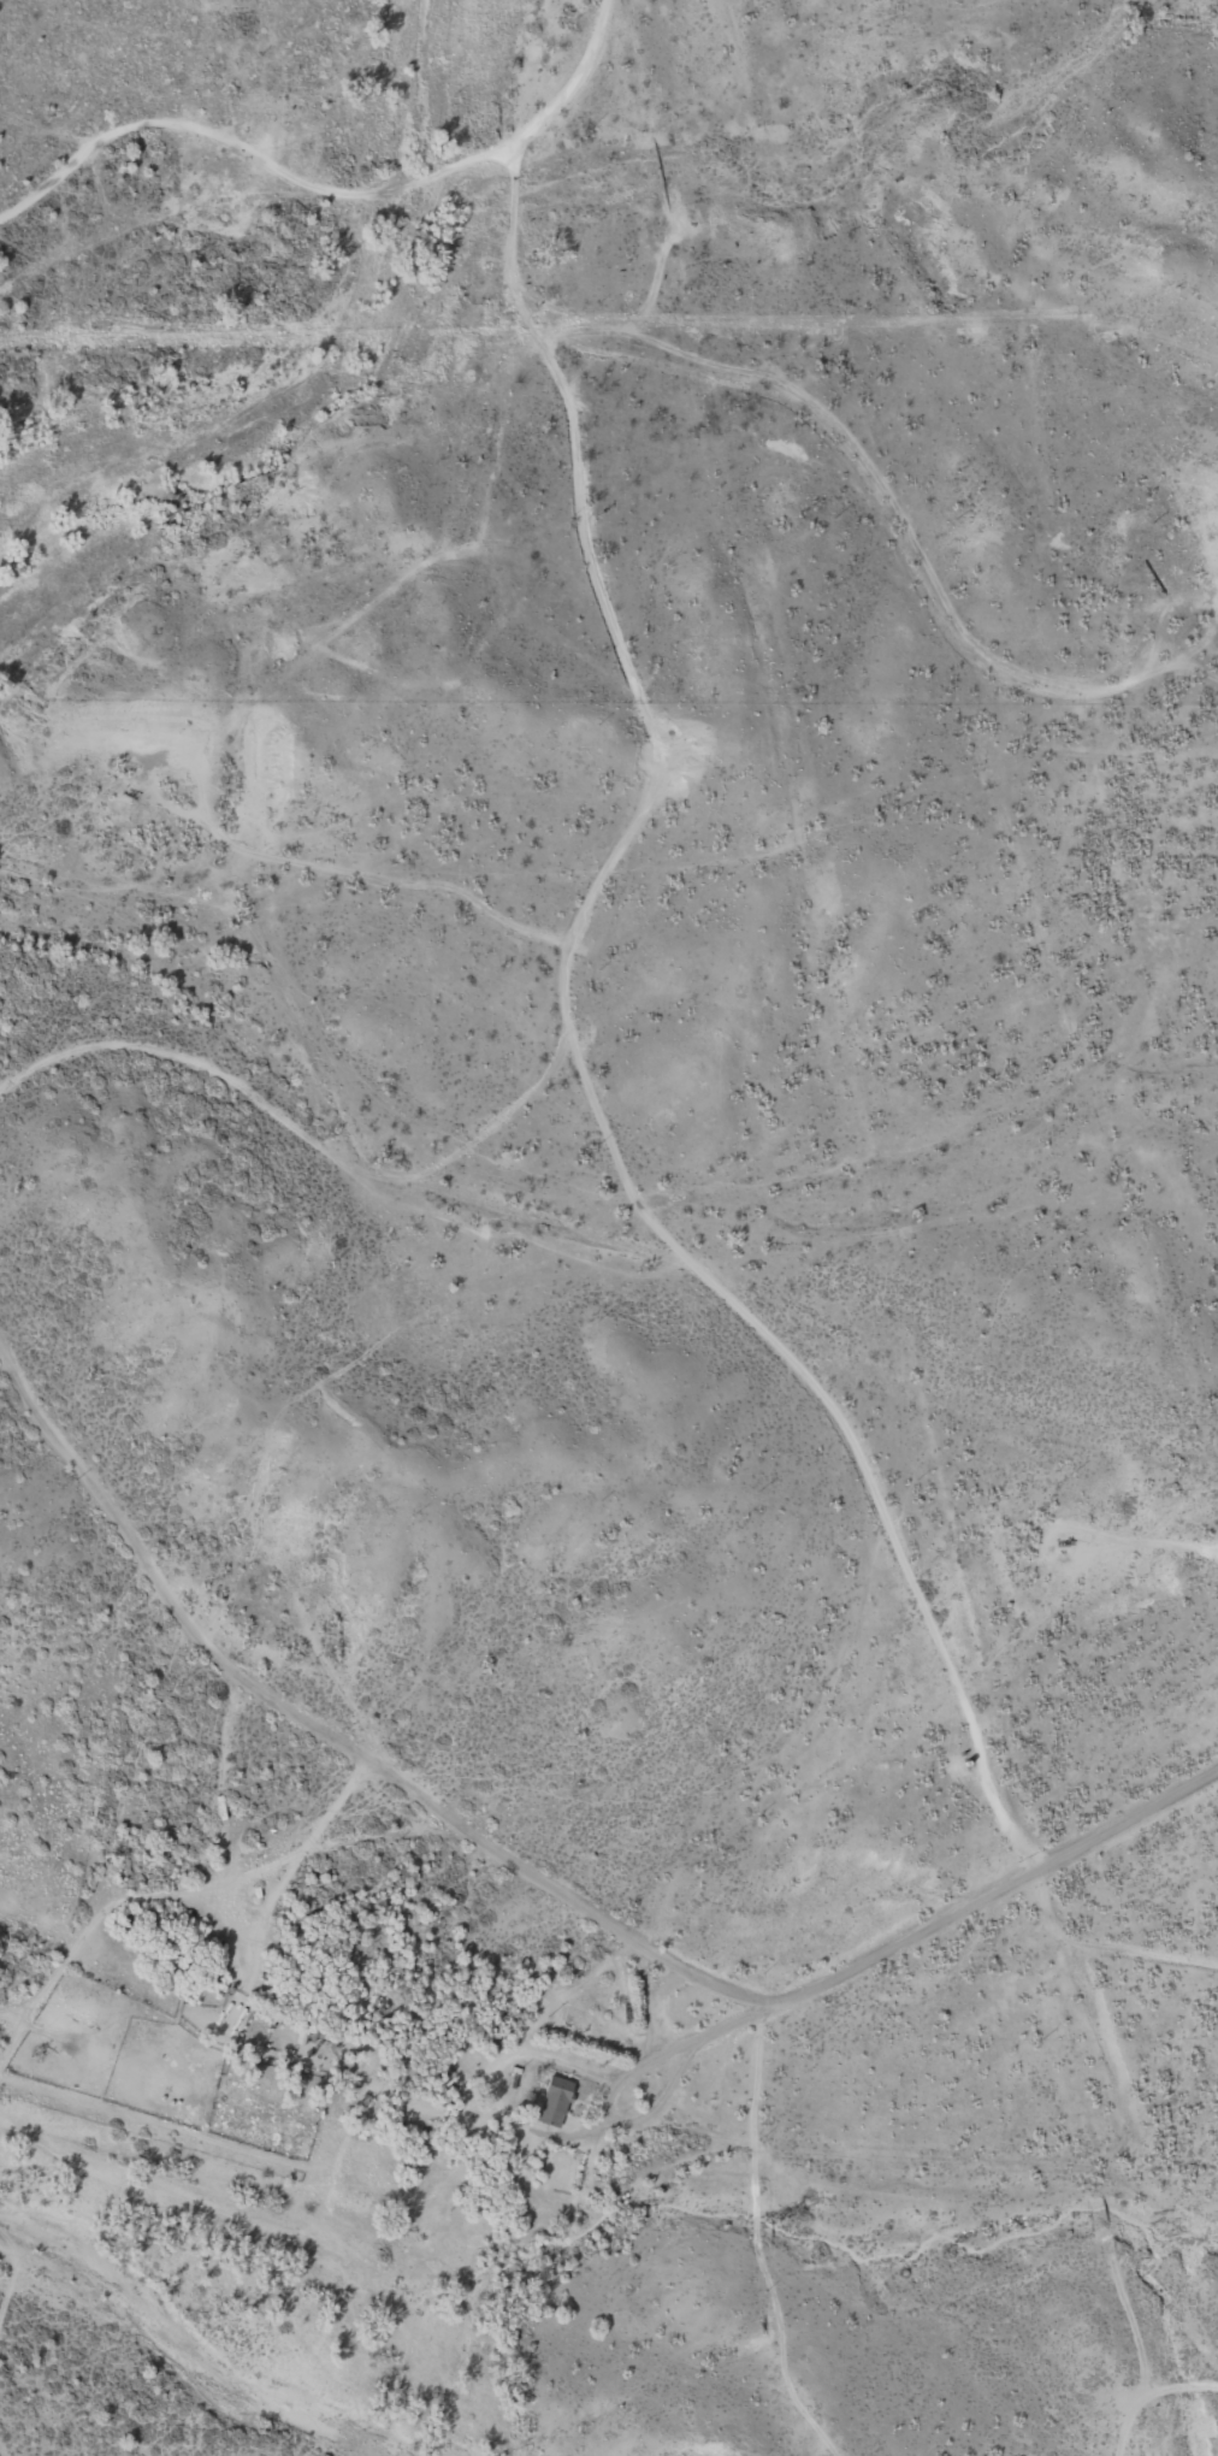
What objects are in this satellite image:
building: (558, 2100)

